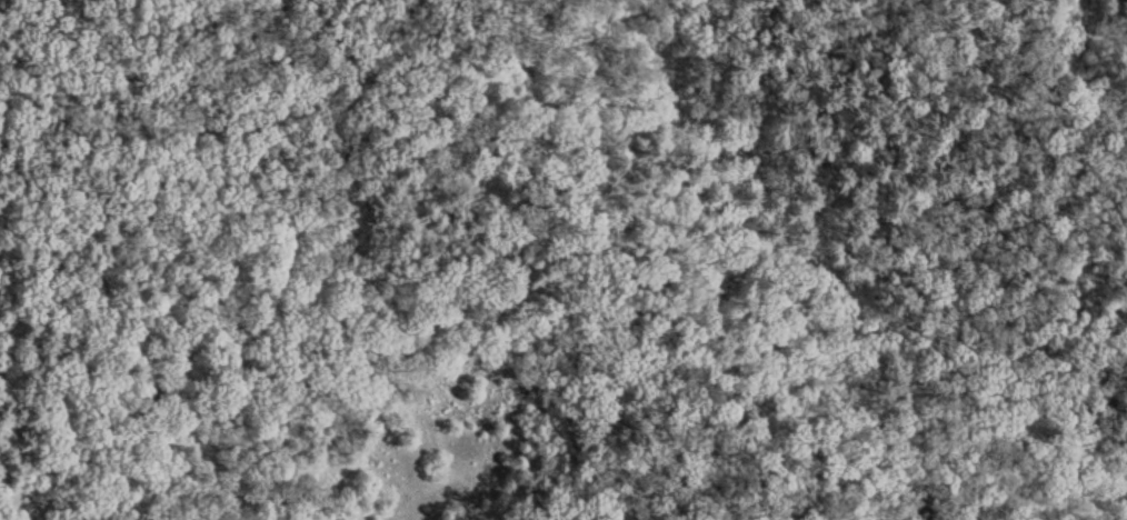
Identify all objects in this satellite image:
road: (1078, 29)
road: (1064, 53)
road: (210, 97)

